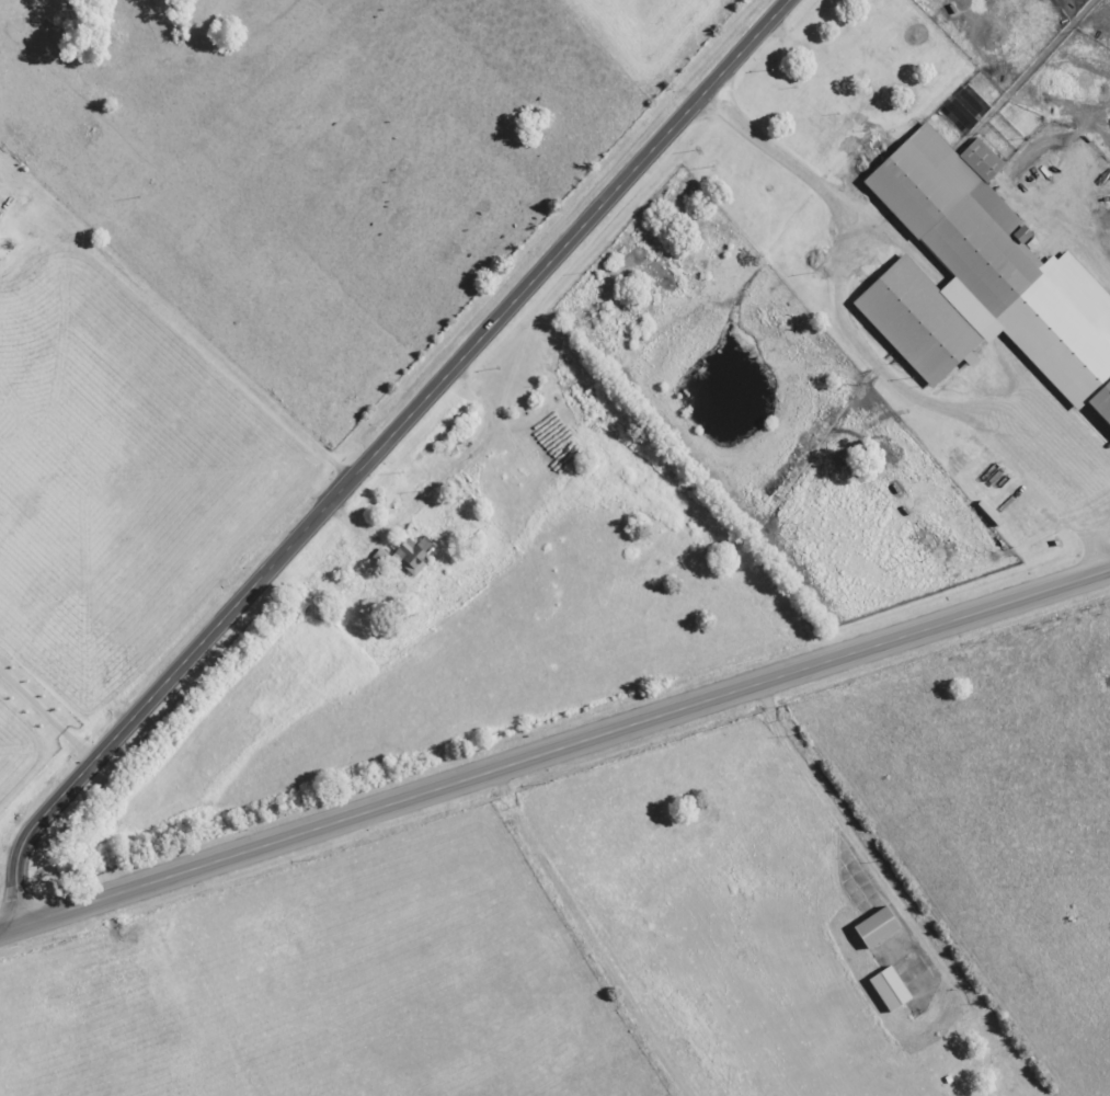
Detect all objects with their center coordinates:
building: (961, 114)
building: (0, 214)
building: (982, 277)
road: (203, 352)
road: (376, 449)
building: (414, 555)
road: (554, 751)
building: (877, 927)
road: (553, 947)
building: (890, 990)

